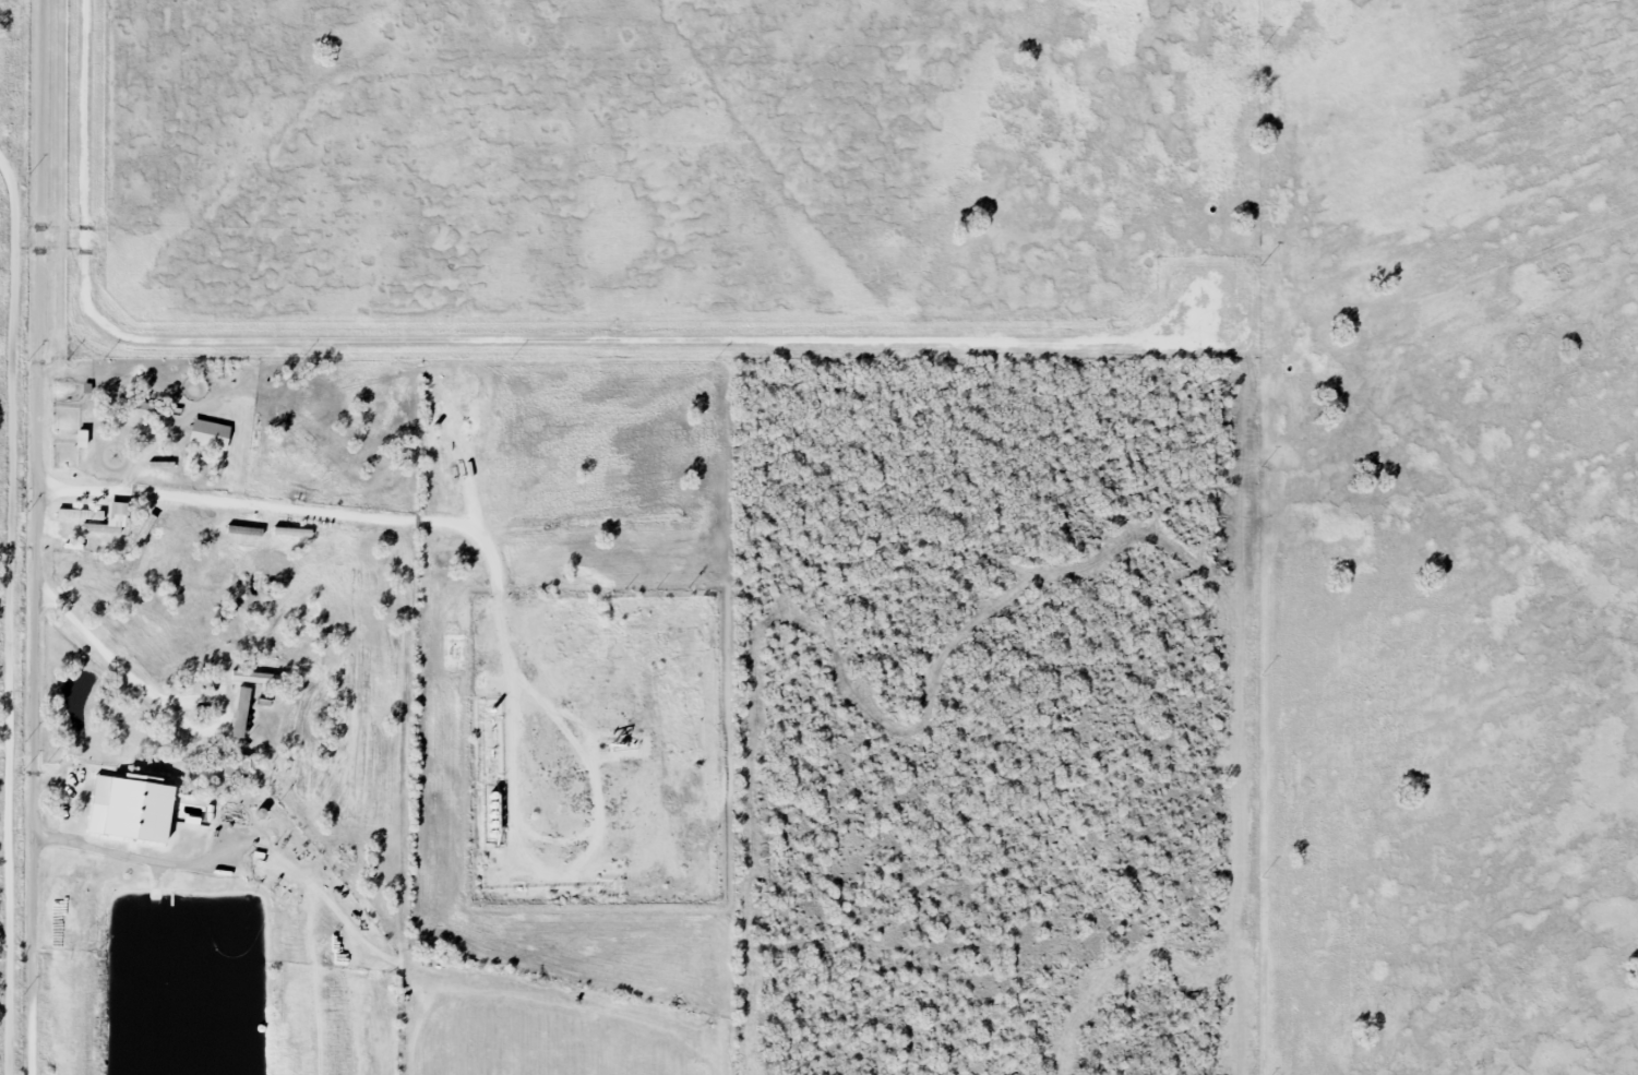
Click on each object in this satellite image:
building: (210, 435)
road: (34, 495)
building: (117, 513)
building: (80, 514)
building: (246, 529)
building: (291, 530)
building: (254, 678)
building: (243, 710)
building: (132, 807)
road: (32, 1034)

